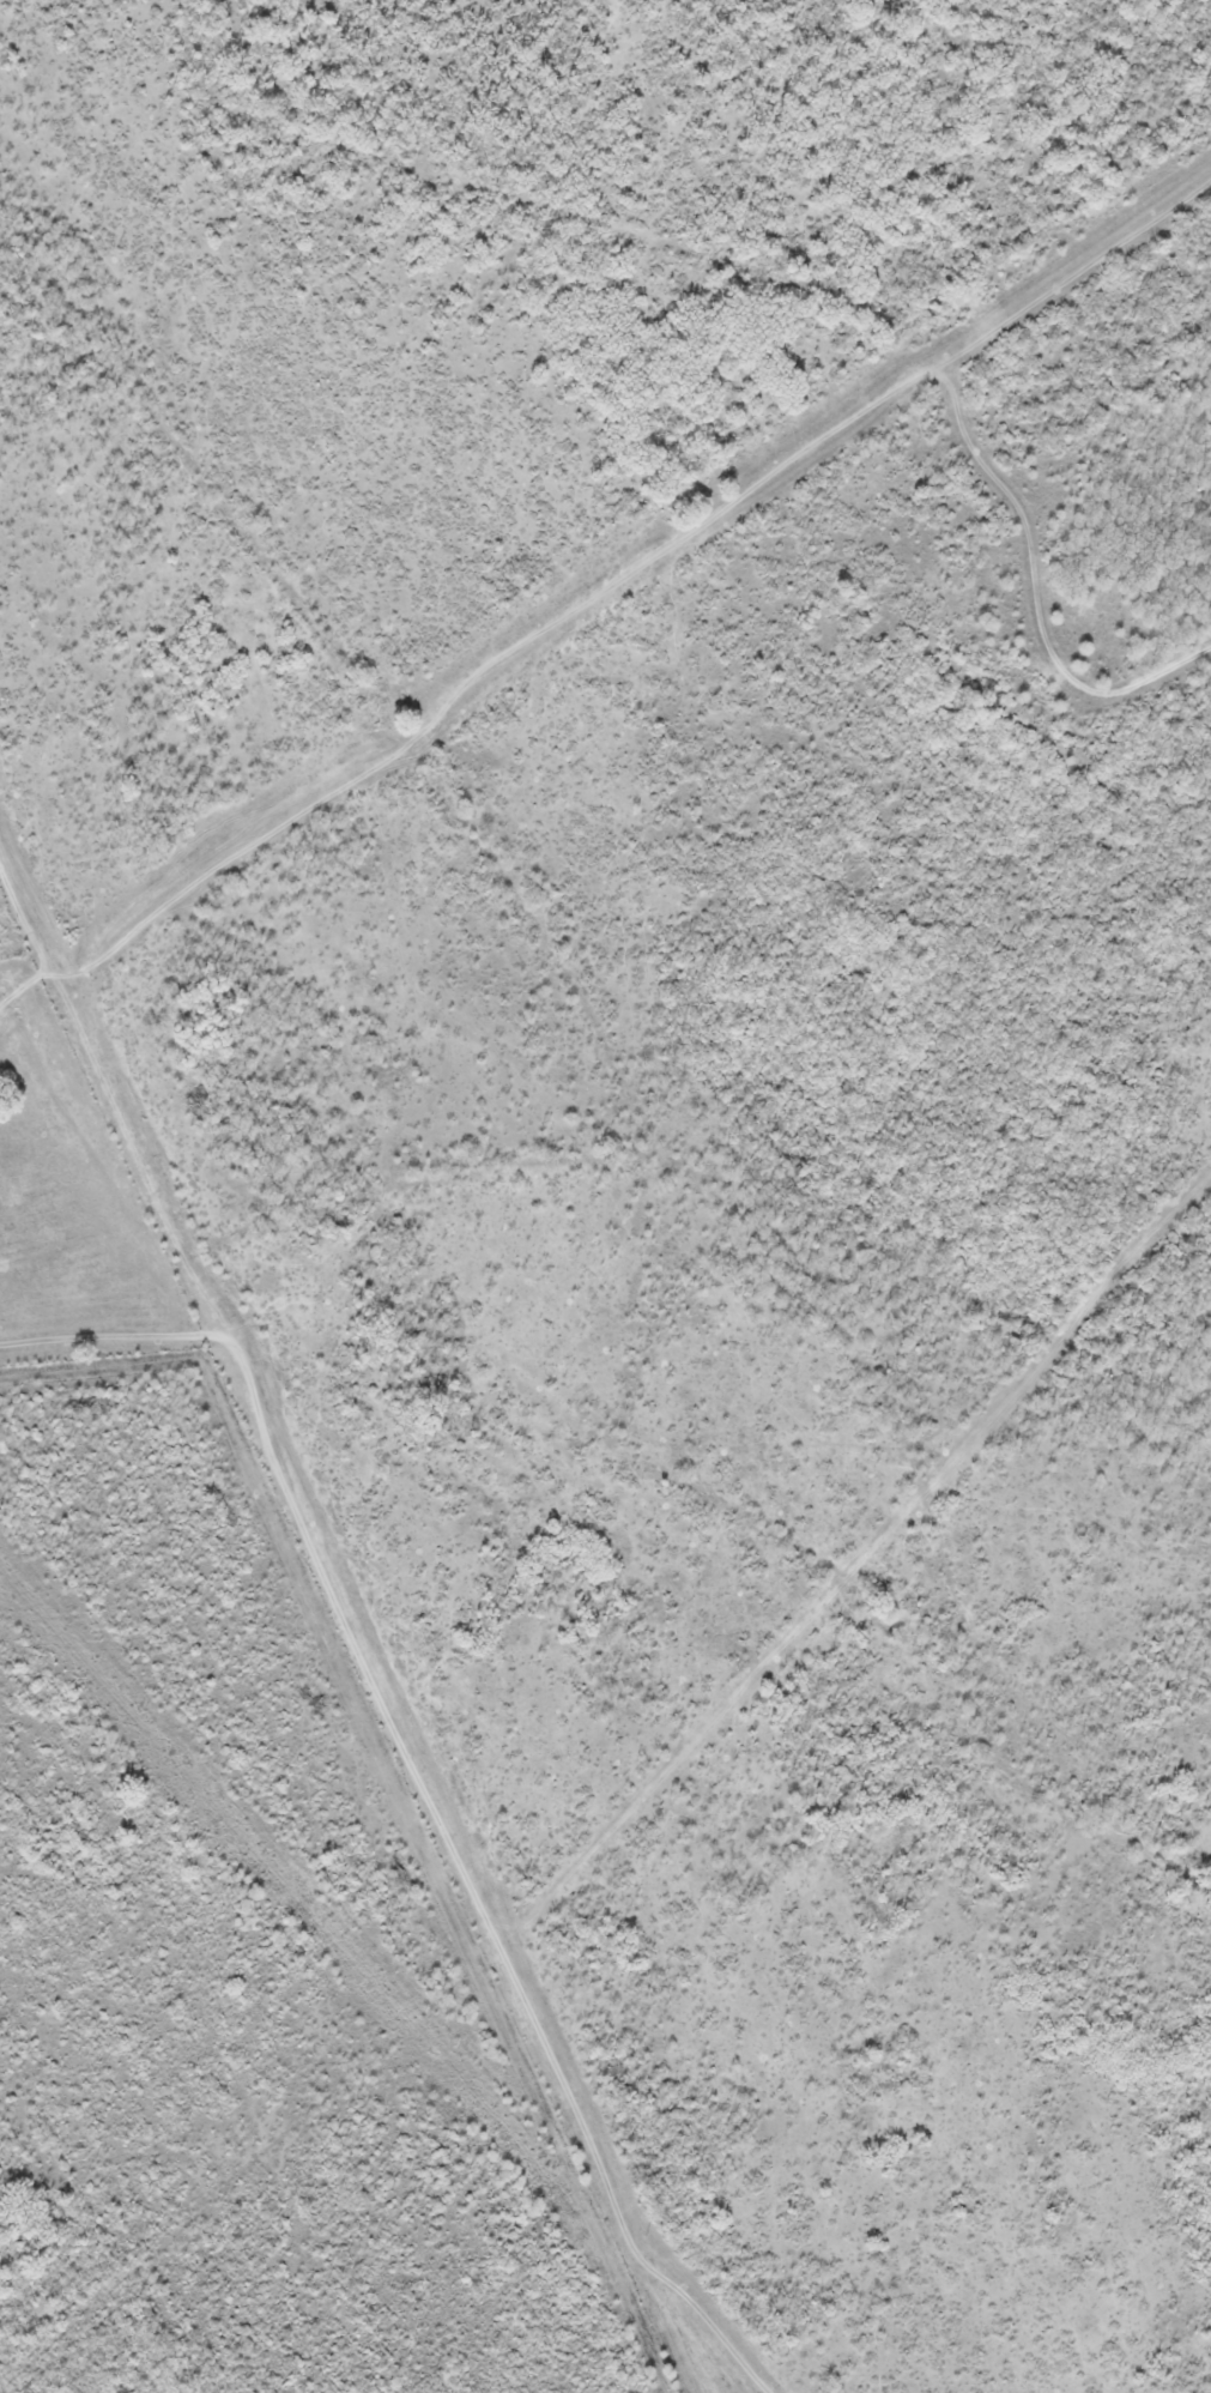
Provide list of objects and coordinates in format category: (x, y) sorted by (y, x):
road: (125, 1108)
road: (435, 1781)

